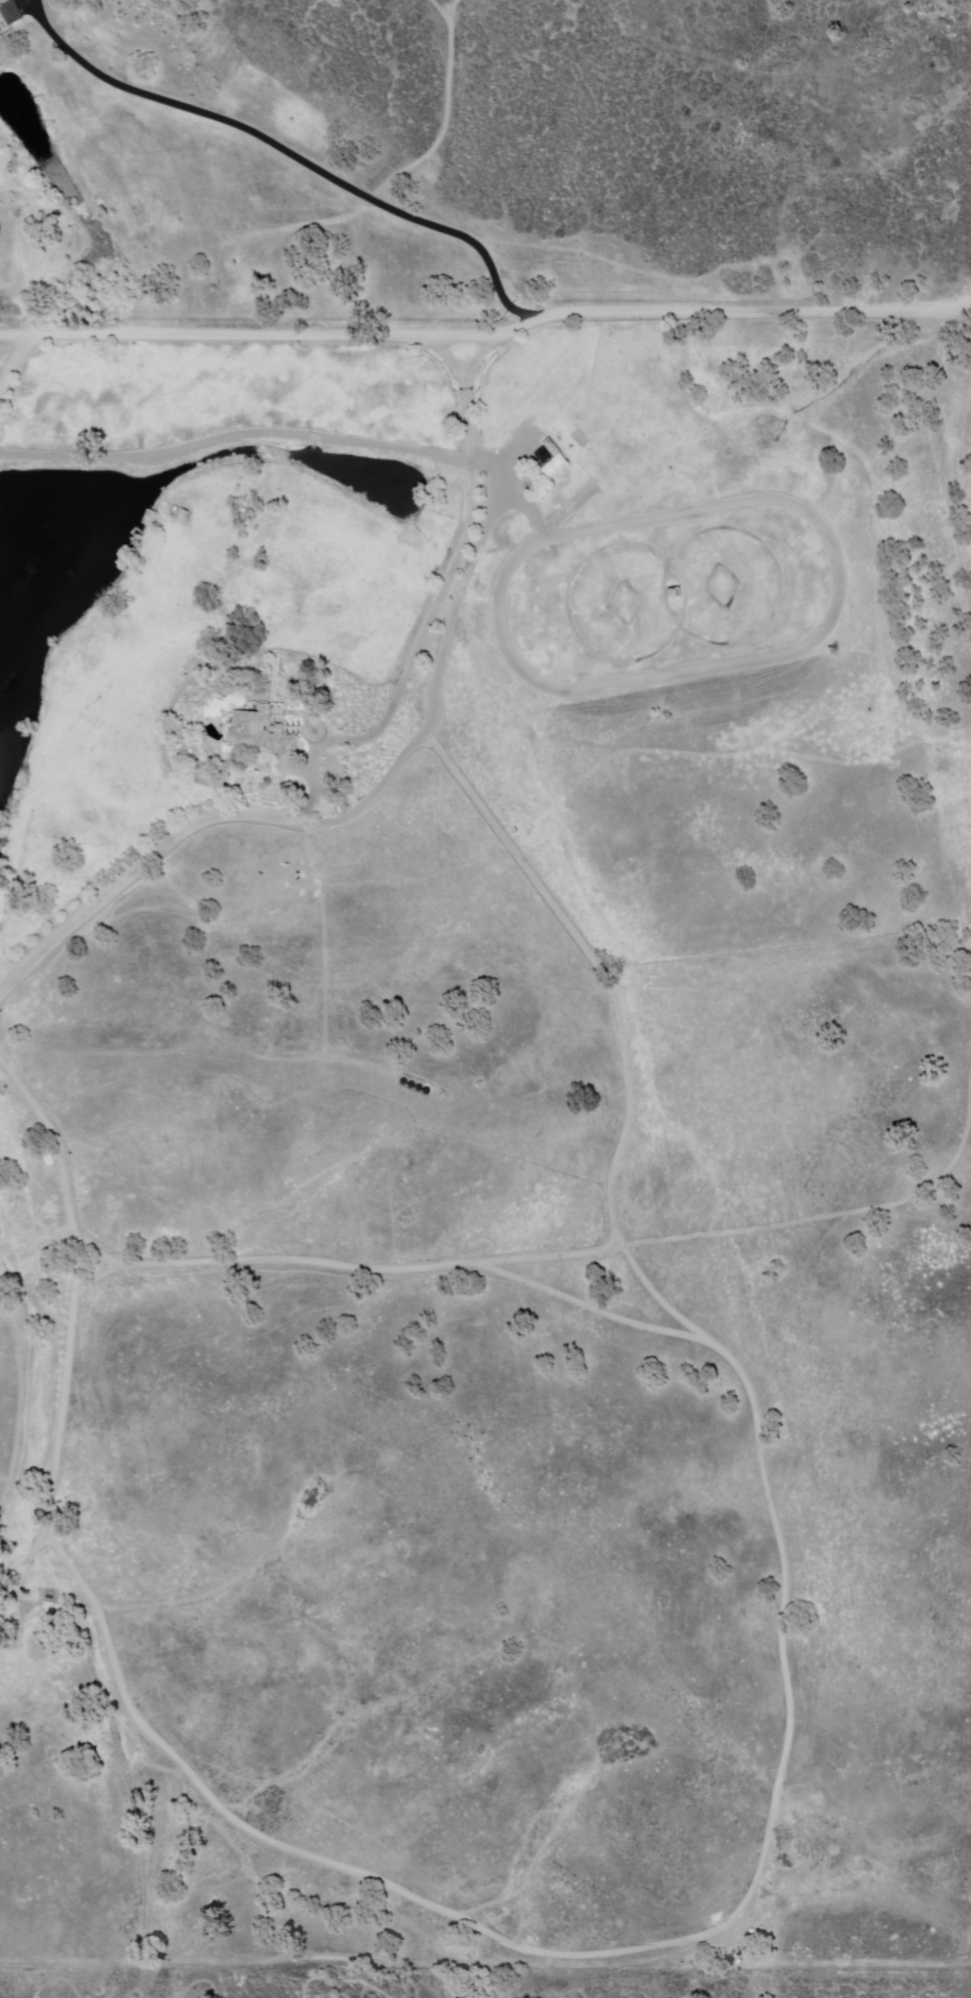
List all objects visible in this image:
building: (12, 12)
road: (296, 158)
road: (487, 339)
road: (15, 369)
building: (554, 466)
building: (184, 514)
raceway: (566, 514)
building: (152, 515)
road: (453, 571)
road: (776, 573)
road: (734, 583)
road: (679, 591)
building: (670, 593)
road: (637, 602)
raceway: (798, 652)
road: (413, 712)
building: (263, 732)
road: (605, 977)
road: (440, 1907)

